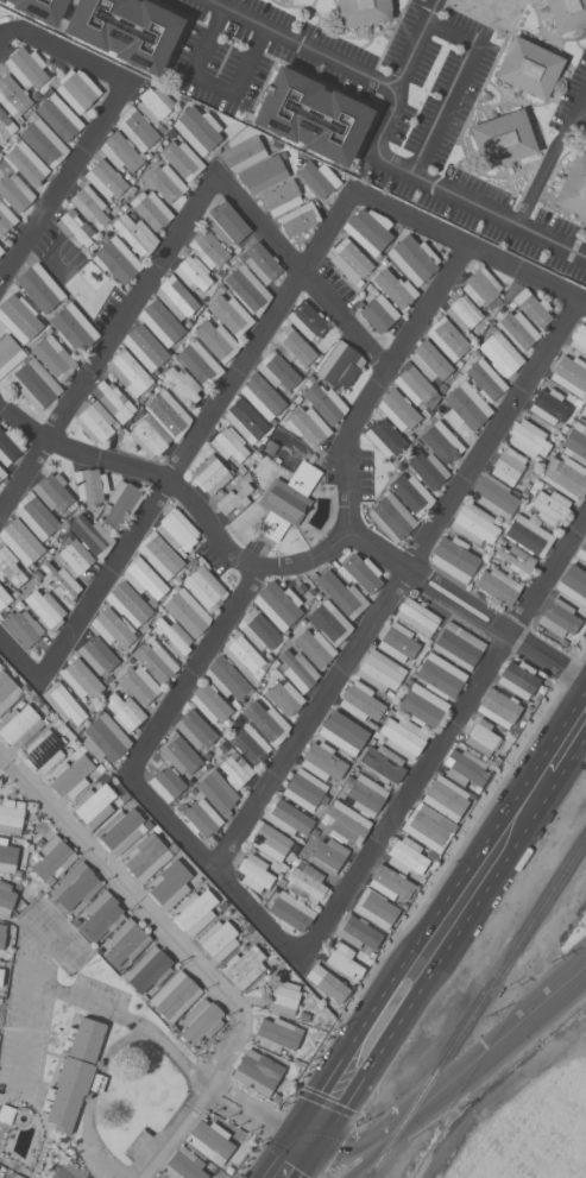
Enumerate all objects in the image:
building: (1, 1)
road: (289, 6)
building: (42, 10)
building: (361, 12)
road: (178, 13)
building: (566, 13)
road: (474, 17)
road: (316, 21)
building: (126, 30)
road: (340, 33)
road: (547, 34)
road: (386, 38)
road: (234, 39)
road: (179, 40)
road: (300, 43)
road: (366, 43)
road: (562, 43)
road: (576, 45)
road: (61, 50)
road: (269, 56)
building: (26, 68)
building: (529, 68)
road: (489, 69)
road: (317, 73)
road: (210, 82)
road: (565, 82)
road: (326, 83)
road: (454, 84)
building: (76, 89)
building: (12, 95)
road: (376, 101)
building: (153, 103)
road: (580, 113)
building: (311, 115)
building: (59, 116)
building: (6, 126)
building: (137, 128)
building: (196, 130)
building: (503, 139)
building: (43, 141)
building: (242, 150)
building: (121, 152)
road: (540, 157)
road: (548, 157)
building: (182, 159)
road: (559, 162)
building: (27, 163)
road: (529, 163)
road: (404, 172)
road: (450, 172)
building: (260, 174)
road: (531, 175)
road: (61, 178)
building: (316, 178)
building: (105, 179)
building: (165, 183)
building: (574, 187)
road: (522, 191)
building: (14, 193)
road: (199, 197)
building: (281, 197)
building: (89, 204)
building: (151, 209)
building: (5, 219)
building: (298, 219)
building: (223, 226)
building: (75, 227)
building: (136, 235)
building: (365, 235)
road: (468, 245)
building: (208, 248)
building: (1, 250)
road: (585, 257)
building: (116, 259)
building: (412, 259)
building: (259, 262)
building: (351, 262)
building: (481, 286)
building: (39, 288)
building: (170, 289)
building: (247, 289)
building: (395, 289)
road: (426, 305)
building: (531, 307)
building: (462, 310)
building: (231, 314)
building: (379, 314)
building: (18, 317)
building: (307, 320)
building: (160, 322)
building: (74, 327)
building: (518, 330)
road: (258, 333)
building: (447, 339)
building: (579, 340)
building: (216, 341)
building: (292, 346)
building: (144, 348)
building: (7, 349)
building: (499, 353)
building: (53, 357)
building: (429, 360)
building: (199, 363)
building: (340, 365)
building: (277, 371)
building: (128, 372)
building: (483, 374)
building: (571, 374)
building: (34, 383)
building: (183, 385)
building: (414, 385)
building: (262, 397)
building: (113, 399)
building: (324, 403)
building: (466, 407)
building: (549, 407)
building: (398, 410)
building: (168, 414)
building: (245, 421)
building: (96, 422)
road: (21, 423)
building: (308, 426)
road: (492, 433)
building: (149, 436)
building: (384, 437)
building: (529, 440)
building: (442, 442)
building: (576, 442)
building: (228, 443)
road: (352, 445)
building: (10, 447)
road: (105, 460)
building: (508, 466)
building: (427, 468)
building: (2, 473)
building: (210, 474)
road: (21, 475)
building: (565, 475)
building: (89, 485)
building: (52, 491)
building: (411, 493)
building: (493, 496)
building: (233, 499)
building: (286, 500)
building: (121, 503)
building: (550, 506)
building: (34, 516)
building: (391, 516)
building: (474, 524)
building: (177, 531)
building: (90, 535)
building: (528, 535)
building: (20, 541)
road: (370, 546)
building: (581, 552)
building: (158, 555)
building: (74, 557)
building: (453, 557)
building: (515, 559)
building: (10, 567)
building: (360, 573)
building: (144, 578)
building: (62, 581)
road: (102, 581)
building: (573, 585)
building: (497, 587)
building: (204, 588)
building: (341, 593)
building: (4, 598)
building: (277, 604)
building: (127, 605)
building: (45, 610)
building: (184, 612)
building: (416, 616)
building: (559, 618)
building: (329, 622)
building: (24, 628)
building: (113, 628)
building: (259, 630)
building: (172, 636)
building: (397, 642)
building: (458, 645)
building: (314, 648)
building: (97, 655)
building: (244, 657)
building: (153, 660)
road: (18, 663)
building: (298, 668)
building: (379, 670)
road: (190, 673)
building: (440, 675)
building: (226, 678)
building: (81, 679)
building: (518, 679)
building: (139, 685)
building: (7, 692)
building: (284, 698)
building: (361, 701)
building: (63, 703)
building: (209, 703)
building: (421, 705)
building: (498, 707)
building: (124, 711)
road: (310, 718)
building: (266, 722)
building: (20, 725)
building: (195, 729)
building: (339, 736)
building: (402, 736)
building: (483, 737)
building: (106, 738)
building: (250, 744)
building: (44, 750)
building: (178, 754)
road: (572, 756)
building: (322, 761)
building: (383, 764)
building: (466, 768)
building: (235, 769)
building: (70, 777)
building: (166, 783)
building: (218, 790)
building: (305, 790)
building: (366, 794)
building: (446, 798)
building: (94, 805)
building: (11, 815)
building: (200, 817)
building: (286, 817)
building: (345, 823)
building: (428, 827)
building: (120, 831)
road: (373, 838)
building: (267, 840)
building: (146, 856)
building: (328, 856)
building: (407, 856)
building: (7, 857)
building: (52, 858)
building: (254, 873)
building: (307, 883)
building: (390, 883)
building: (169, 884)
building: (75, 887)
road: (120, 889)
building: (6, 899)
building: (374, 908)
road: (435, 908)
building: (195, 912)
building: (290, 912)
road: (411, 913)
building: (101, 915)
building: (357, 932)
building: (2, 934)
building: (219, 940)
building: (125, 941)
building: (342, 958)
road: (436, 963)
building: (244, 966)
building: (149, 970)
building: (1, 976)
railway: (492, 979)
building: (327, 983)
road: (43, 984)
building: (174, 996)
building: (284, 997)
building: (200, 1021)
building: (277, 1034)
road: (492, 1046)
road: (103, 1065)
building: (257, 1072)
building: (75, 1073)
road: (191, 1101)
road: (246, 1109)
building: (6, 1114)
crop: (524, 1117)
traffic signals: (288, 1134)
building: (210, 1141)
road: (302, 1141)
road: (359, 1147)
traffic signals: (316, 1148)
road: (371, 1152)
railway: (380, 1152)
road: (271, 1155)
road: (305, 1163)
building: (183, 1165)
building: (68, 1171)

